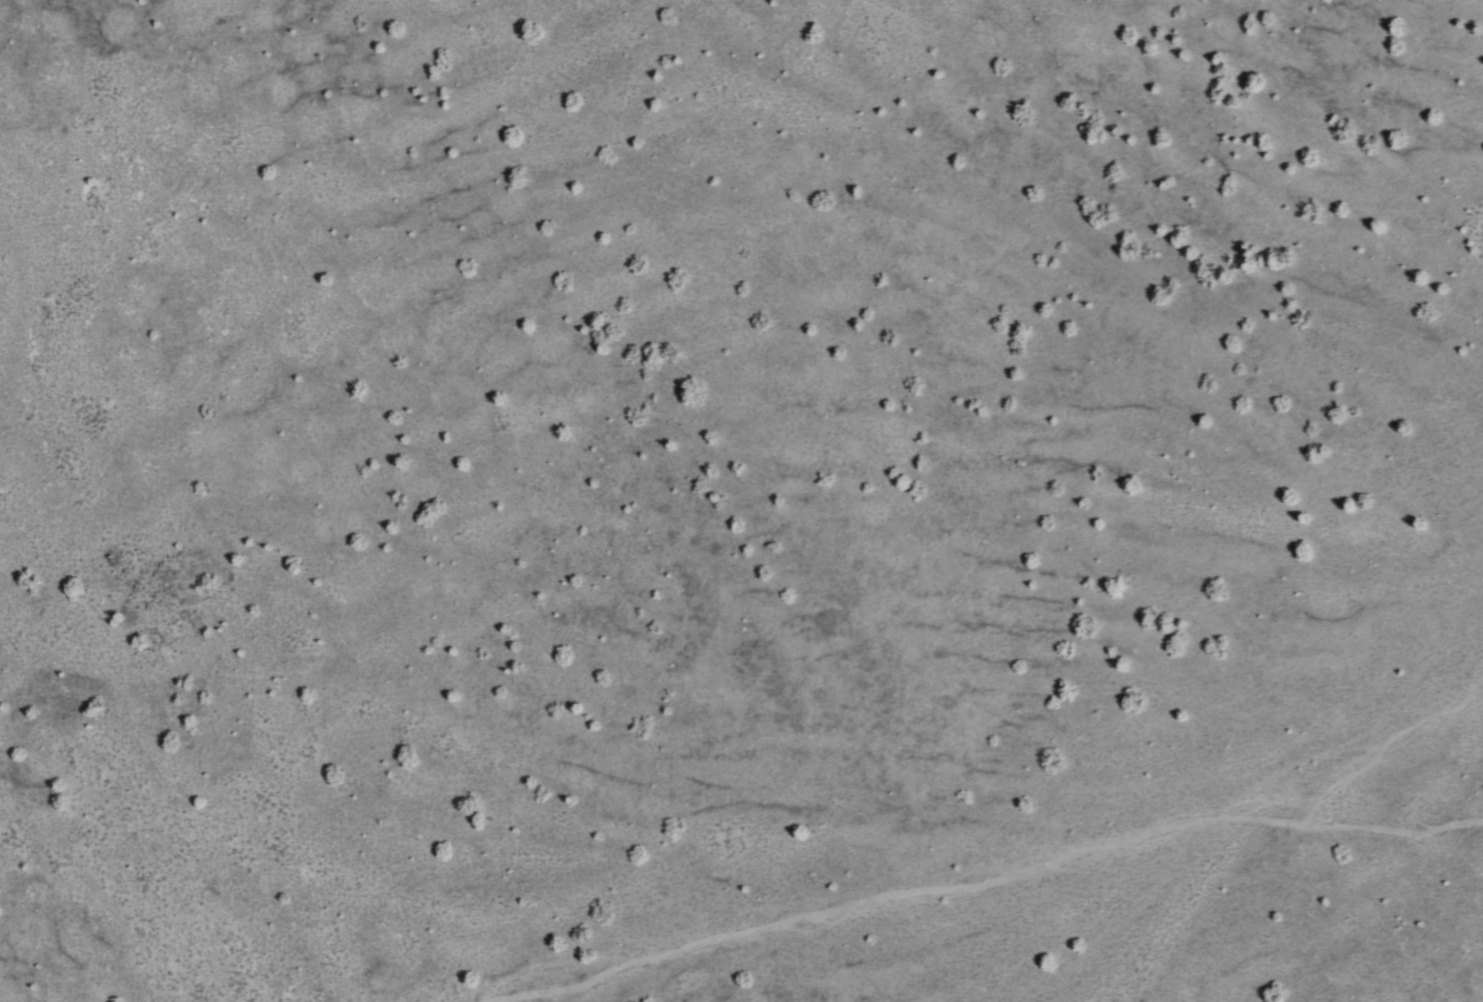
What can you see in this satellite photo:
road: (1329, 830)

